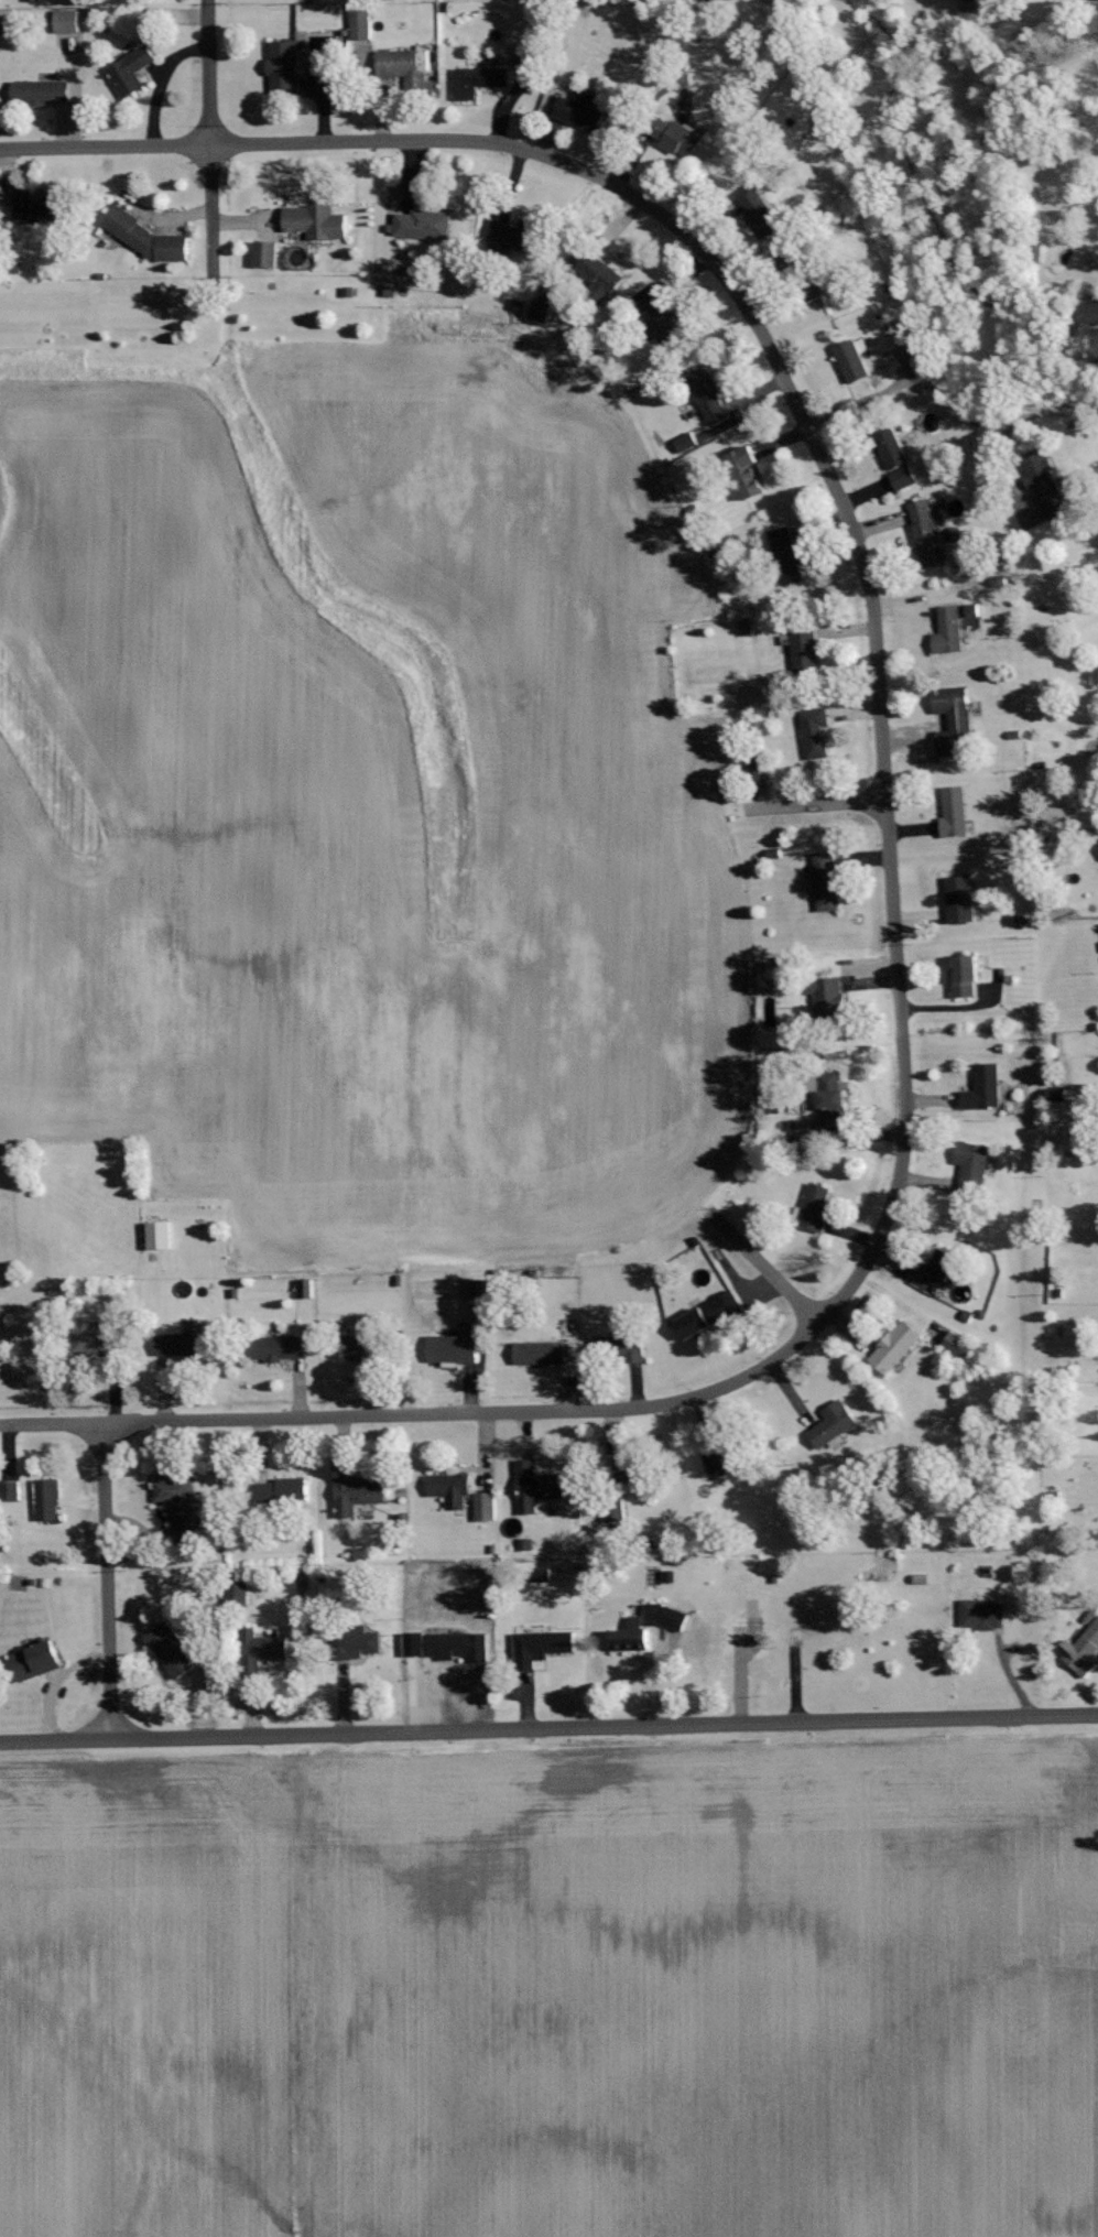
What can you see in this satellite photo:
building: (979, 6)
building: (66, 21)
building: (360, 25)
building: (282, 67)
building: (401, 67)
building: (130, 72)
road: (208, 73)
building: (478, 80)
building: (40, 93)
building: (579, 111)
building: (676, 138)
road: (105, 146)
building: (33, 209)
road: (211, 214)
building: (760, 214)
building: (315, 222)
building: (423, 225)
building: (145, 238)
building: (510, 238)
building: (265, 254)
building: (600, 278)
building: (539, 311)
building: (1090, 314)
building: (852, 362)
building: (921, 367)
building: (708, 398)
road: (1050, 413)
building: (686, 443)
building: (895, 459)
building: (748, 473)
building: (1045, 484)
building: (920, 511)
building: (930, 544)
building: (786, 555)
building: (948, 632)
building: (804, 651)
building: (954, 720)
building: (815, 731)
building: (755, 768)
road: (815, 803)
building: (955, 812)
building: (1056, 816)
building: (826, 880)
building: (960, 898)
road: (895, 936)
building: (965, 976)
building: (826, 995)
building: (983, 1087)
building: (829, 1098)
building: (801, 1132)
building: (972, 1163)
building: (816, 1206)
building: (159, 1235)
road: (764, 1267)
building: (942, 1267)
building: (305, 1289)
building: (477, 1290)
building: (710, 1315)
building: (94, 1343)
building: (177, 1344)
building: (358, 1346)
building: (455, 1346)
building: (959, 1346)
building: (619, 1347)
building: (895, 1347)
building: (278, 1348)
building: (546, 1353)
building: (833, 1424)
building: (719, 1458)
building: (630, 1468)
building: (535, 1486)
building: (450, 1489)
building: (10, 1490)
building: (284, 1491)
building: (356, 1495)
building: (46, 1499)
building: (178, 1507)
building: (485, 1507)
road: (107, 1581)
building: (982, 1615)
building: (646, 1627)
building: (815, 1632)
building: (357, 1643)
building: (457, 1646)
building: (540, 1647)
building: (262, 1649)
building: (171, 1650)
building: (1081, 1651)
building: (35, 1660)
road: (548, 1728)

